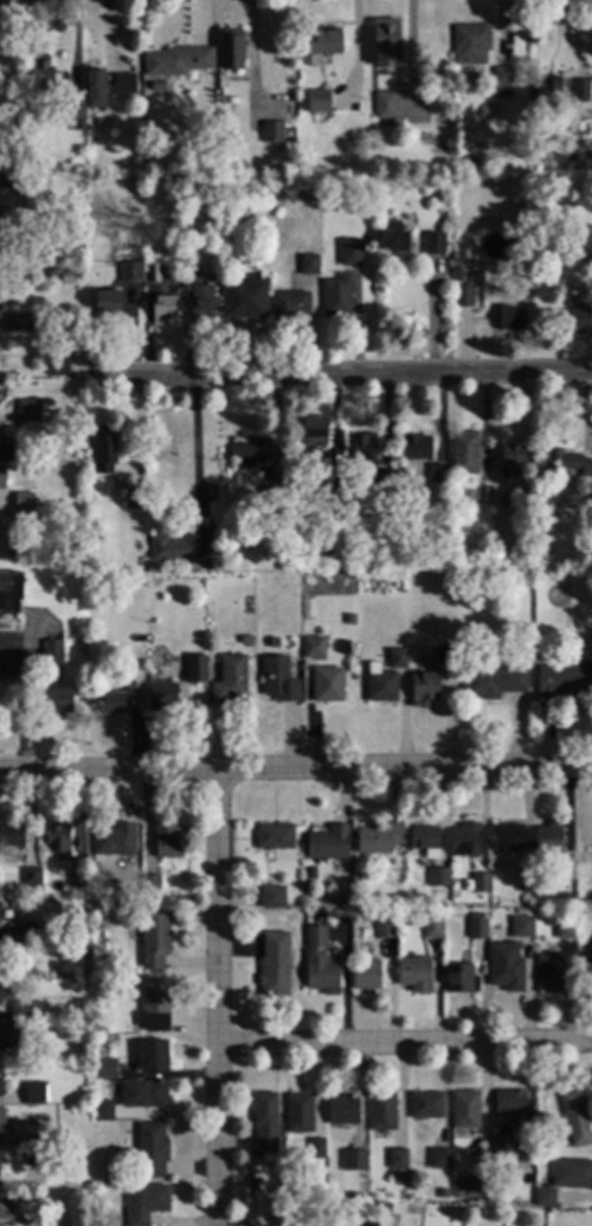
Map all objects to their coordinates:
building: (322, 42)
building: (385, 43)
building: (468, 45)
building: (228, 50)
building: (176, 62)
building: (42, 77)
building: (501, 79)
building: (122, 84)
building: (93, 89)
building: (541, 89)
building: (579, 91)
building: (311, 104)
building: (384, 107)
building: (69, 114)
building: (271, 134)
building: (568, 156)
building: (535, 165)
building: (7, 180)
building: (434, 196)
building: (390, 237)
building: (227, 241)
building: (6, 243)
building: (212, 244)
building: (432, 244)
building: (349, 253)
building: (306, 267)
building: (588, 267)
building: (129, 274)
building: (152, 274)
building: (458, 274)
building: (462, 297)
building: (334, 298)
building: (243, 301)
building: (200, 303)
building: (105, 305)
building: (289, 308)
building: (160, 311)
building: (509, 320)
building: (576, 321)
building: (17, 324)
building: (56, 366)
road: (337, 377)
building: (26, 412)
building: (313, 432)
road: (195, 448)
building: (361, 449)
building: (103, 451)
building: (5, 453)
building: (413, 453)
building: (464, 453)
building: (250, 454)
building: (512, 457)
building: (566, 463)
building: (437, 474)
building: (329, 481)
building: (383, 482)
building: (1, 487)
building: (268, 498)
building: (588, 499)
building: (134, 500)
building: (23, 503)
building: (325, 504)
building: (456, 504)
building: (523, 509)
building: (181, 546)
building: (17, 548)
building: (147, 568)
building: (8, 593)
building: (348, 620)
building: (139, 639)
building: (244, 642)
building: (313, 648)
building: (50, 654)
building: (444, 656)
building: (395, 660)
building: (195, 670)
building: (227, 681)
building: (277, 681)
building: (563, 682)
building: (493, 684)
building: (325, 686)
building: (422, 687)
building: (380, 688)
building: (160, 698)
building: (56, 702)
building: (115, 703)
road: (295, 772)
building: (273, 838)
building: (10, 839)
building: (377, 839)
building: (506, 839)
building: (547, 840)
building: (112, 842)
building: (164, 842)
building: (55, 843)
building: (423, 843)
building: (464, 843)
building: (325, 845)
building: (309, 872)
building: (564, 874)
building: (30, 879)
building: (310, 879)
building: (437, 879)
building: (77, 880)
building: (136, 884)
building: (523, 884)
building: (358, 885)
building: (480, 886)
building: (149, 887)
building: (29, 894)
building: (590, 897)
building: (566, 898)
building: (270, 899)
building: (523, 900)
building: (100, 927)
building: (475, 928)
building: (519, 929)
building: (383, 930)
building: (431, 930)
building: (562, 930)
building: (25, 931)
building: (313, 939)
building: (152, 943)
building: (273, 966)
building: (586, 966)
building: (503, 969)
building: (547, 973)
building: (17, 975)
building: (319, 975)
building: (413, 976)
building: (365, 978)
building: (458, 981)
road: (219, 1000)
building: (0, 1005)
building: (153, 1007)
building: (25, 1013)
building: (7, 1038)
building: (75, 1045)
road: (407, 1046)
building: (152, 1057)
building: (103, 1068)
building: (0, 1084)
building: (142, 1097)
building: (33, 1098)
building: (508, 1106)
building: (425, 1107)
building: (341, 1111)
building: (99, 1112)
building: (463, 1112)
building: (379, 1113)
building: (297, 1115)
building: (574, 1119)
building: (263, 1124)
building: (2, 1130)
building: (32, 1142)
building: (315, 1151)
building: (501, 1151)
building: (149, 1152)
building: (32, 1159)
building: (396, 1160)
building: (352, 1161)
building: (437, 1161)
building: (570, 1176)
building: (472, 1189)
building: (456, 1196)
building: (543, 1200)
building: (144, 1203)
building: (5, 1207)
building: (29, 1221)

